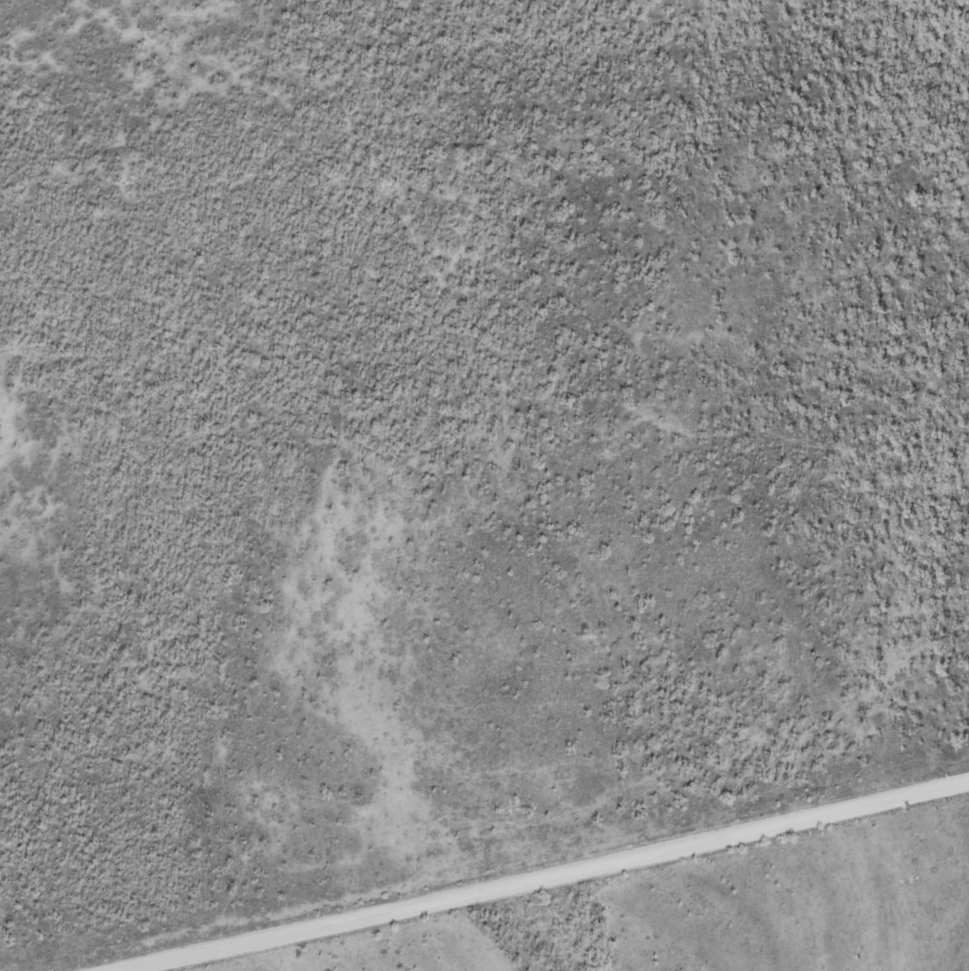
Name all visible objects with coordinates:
road: (541, 875)

